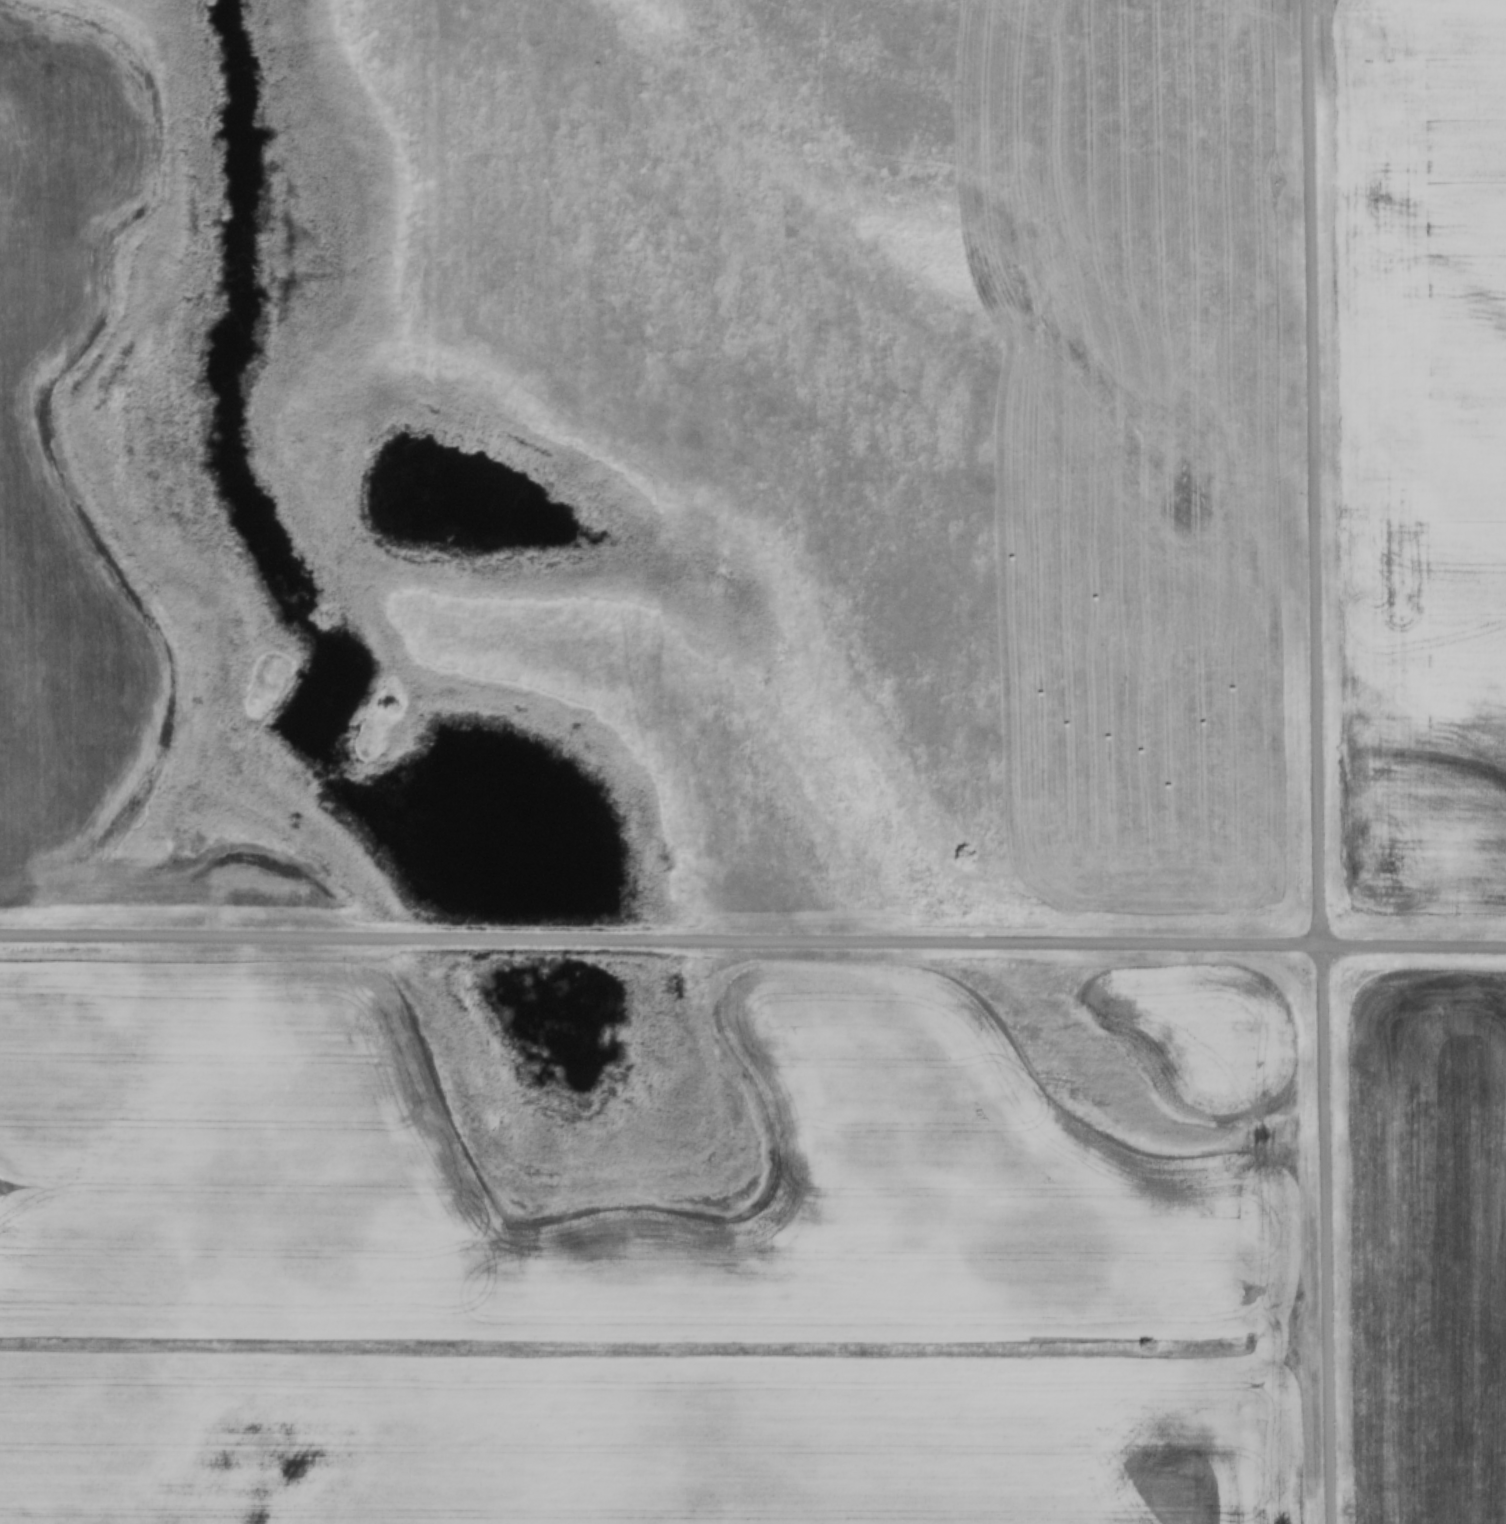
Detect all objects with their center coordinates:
road: (1321, 762)
road: (752, 942)

